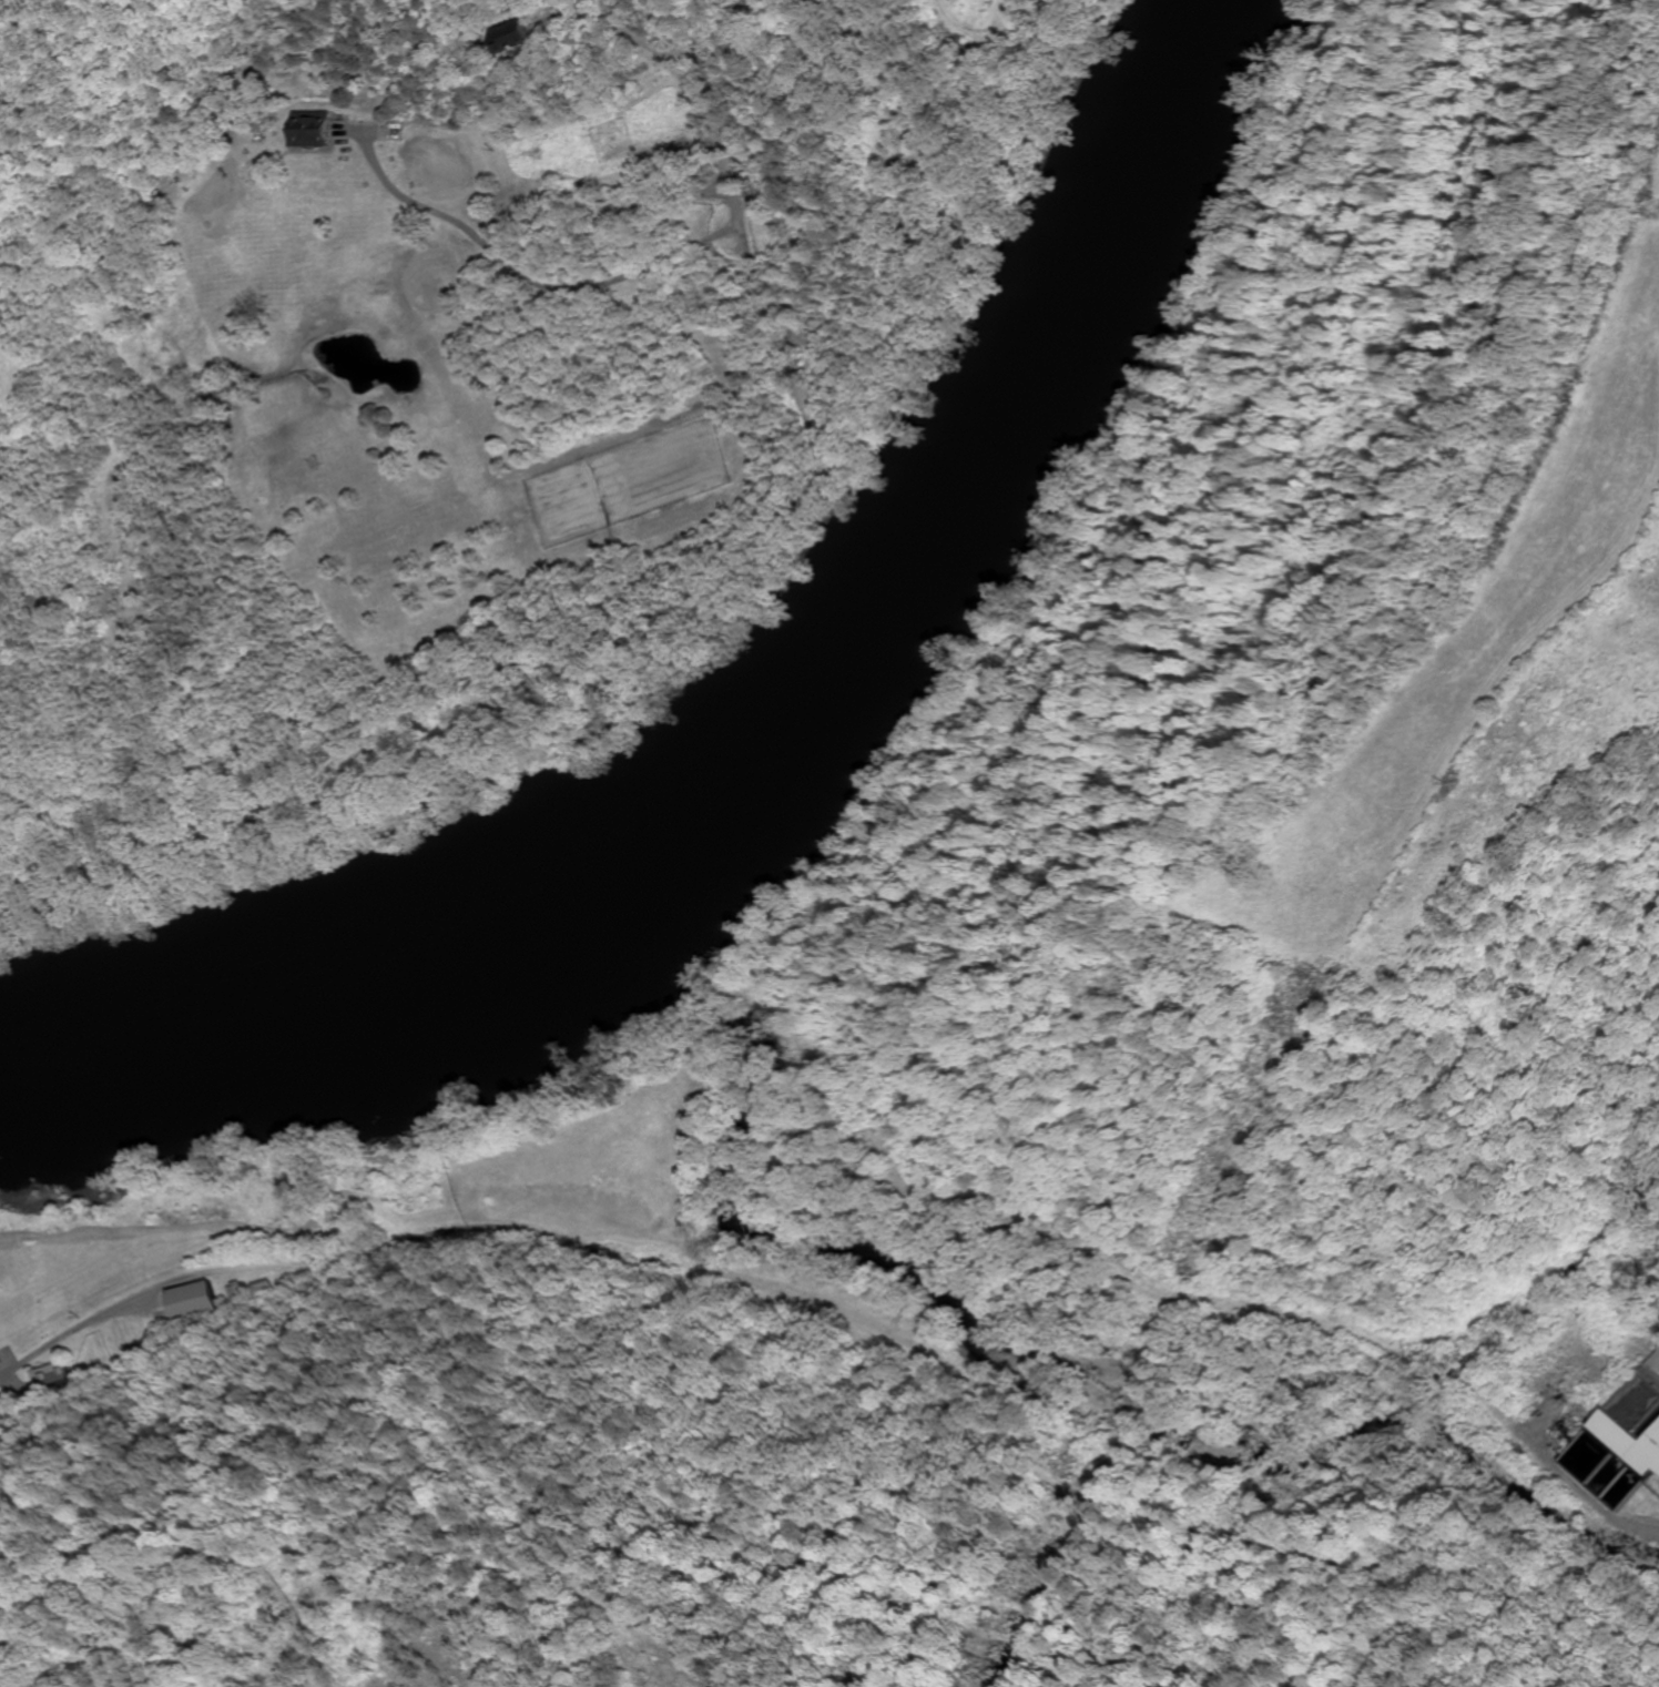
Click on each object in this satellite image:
road: (625, 23)
building: (509, 35)
road: (717, 126)
building: (314, 128)
building: (511, 232)
road: (537, 278)
road: (764, 304)
river: (773, 726)
road: (269, 1260)
building: (199, 1298)
road: (1652, 1373)
wastewater plant: (1620, 1439)

